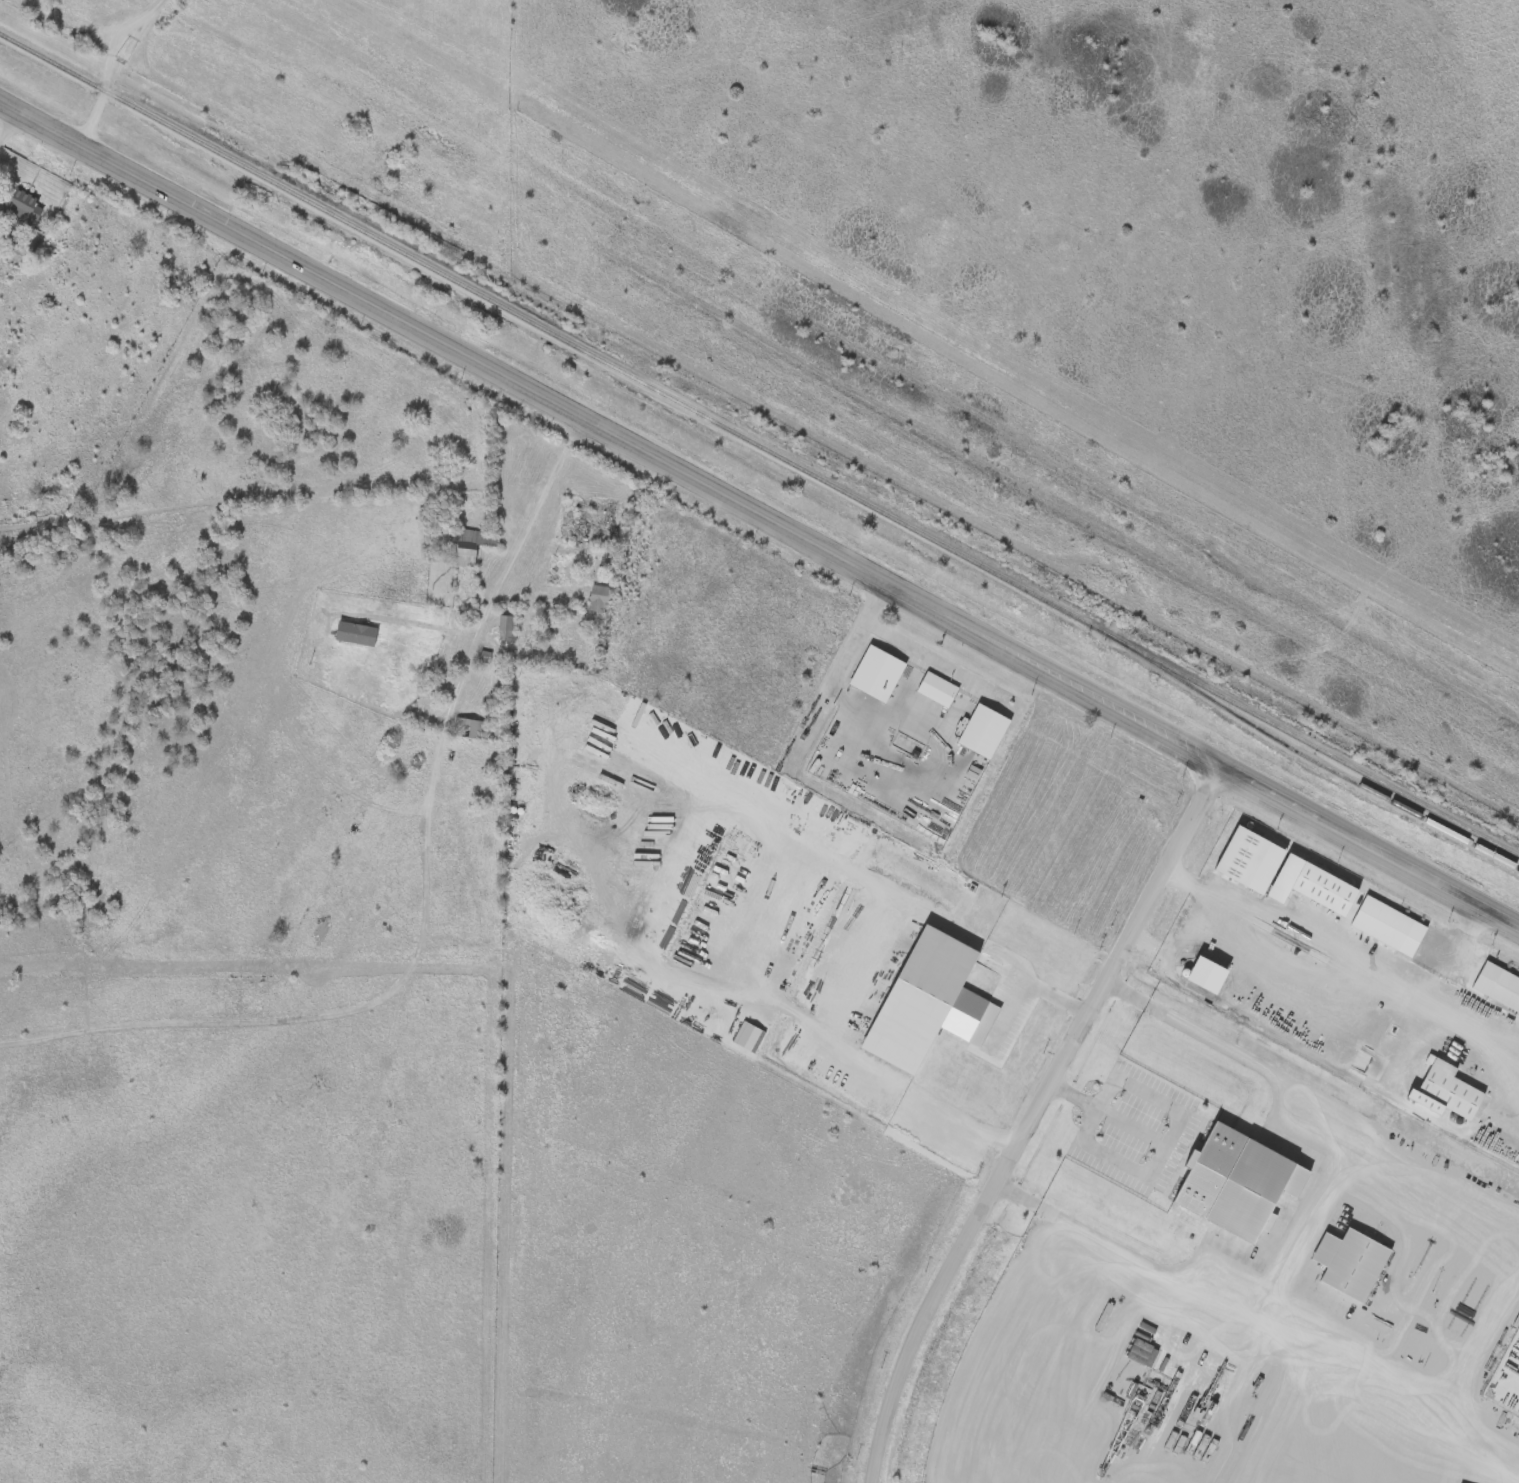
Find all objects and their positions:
road: (110, 69)
road: (6, 122)
building: (19, 209)
railway: (760, 443)
road: (760, 515)
building: (589, 523)
building: (466, 543)
road: (504, 552)
building: (599, 598)
road: (403, 613)
building: (504, 626)
building: (355, 633)
road: (855, 635)
road: (917, 658)
building: (468, 727)
building: (906, 744)
railway: (1317, 761)
building: (952, 797)
road: (1454, 943)
road: (746, 950)
road: (1355, 960)
road: (1016, 984)
road: (1426, 990)
road: (1180, 1116)
road: (1028, 1118)
road: (1313, 1210)

